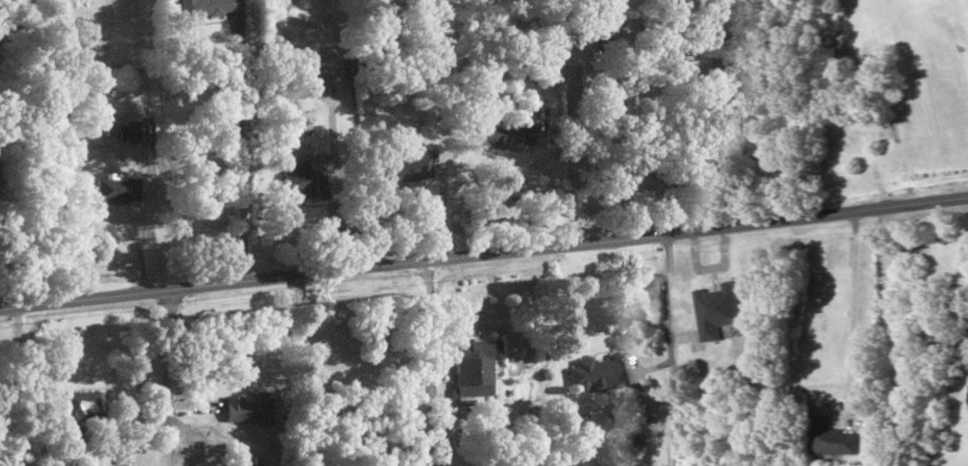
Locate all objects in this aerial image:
building: (209, 8)
building: (539, 67)
building: (310, 68)
building: (489, 133)
building: (387, 172)
building: (279, 180)
road: (484, 254)
building: (716, 312)
road: (669, 350)
building: (464, 362)
building: (596, 372)
building: (967, 392)
building: (83, 403)
building: (240, 408)
building: (830, 438)

